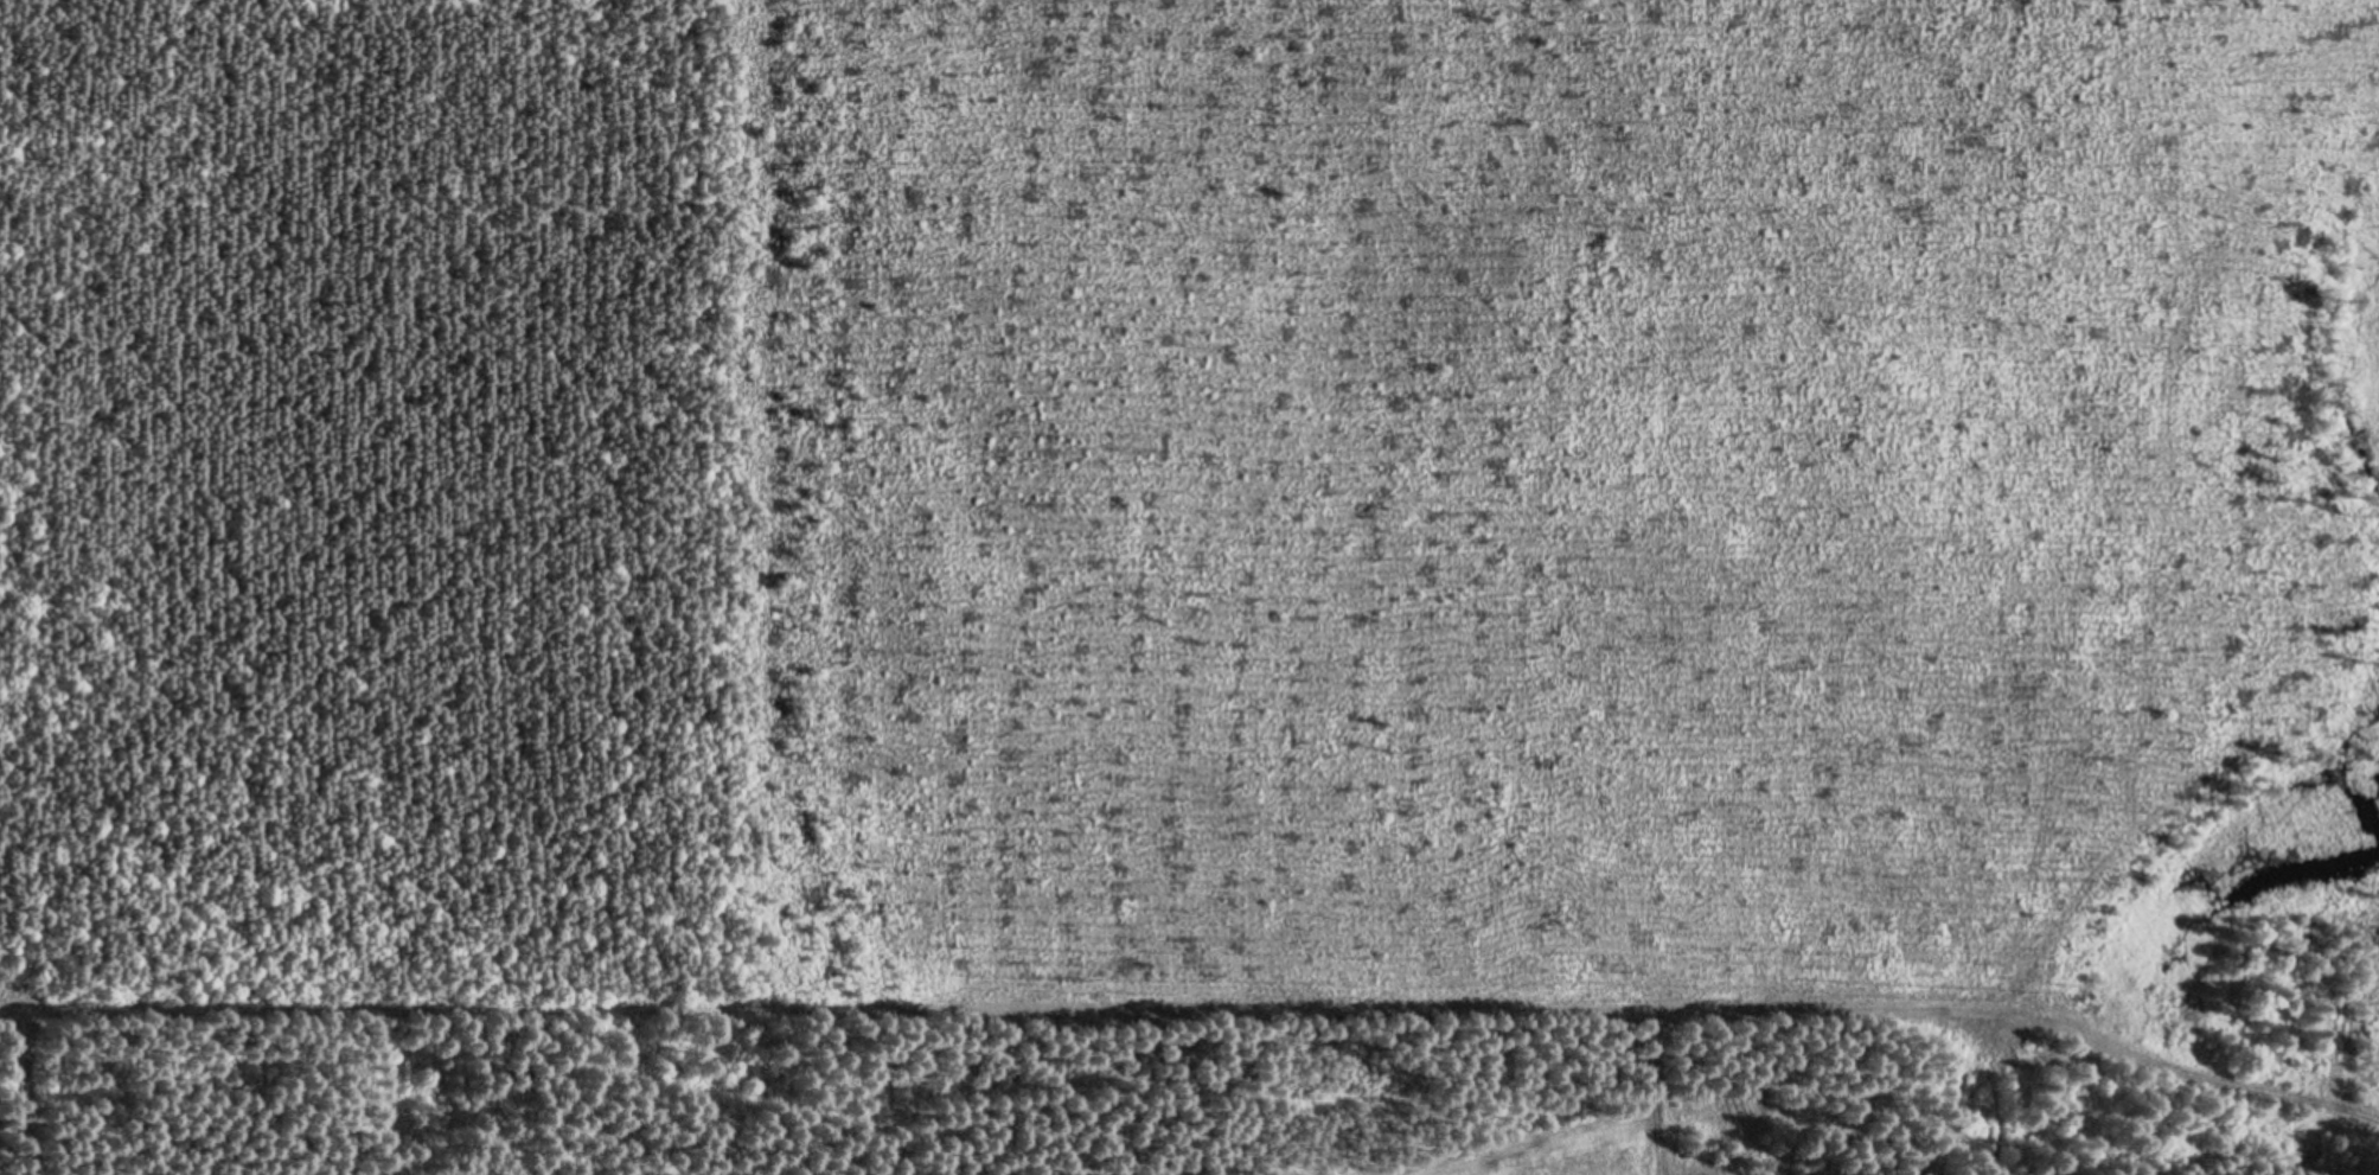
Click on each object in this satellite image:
road: (371, 58)
road: (1197, 1047)
road: (19, 1111)
road: (1610, 1111)

